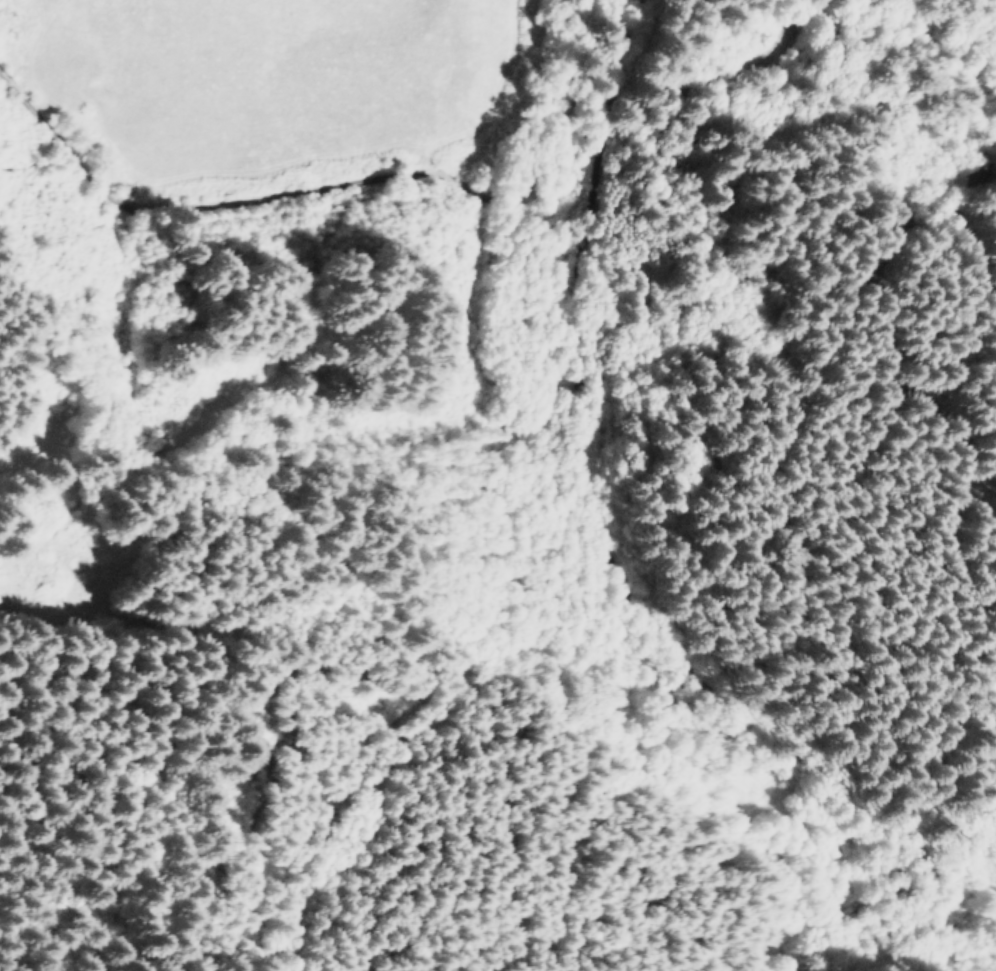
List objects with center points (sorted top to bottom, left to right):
road: (236, 157)
road: (625, 473)
road: (981, 854)
road: (833, 898)

